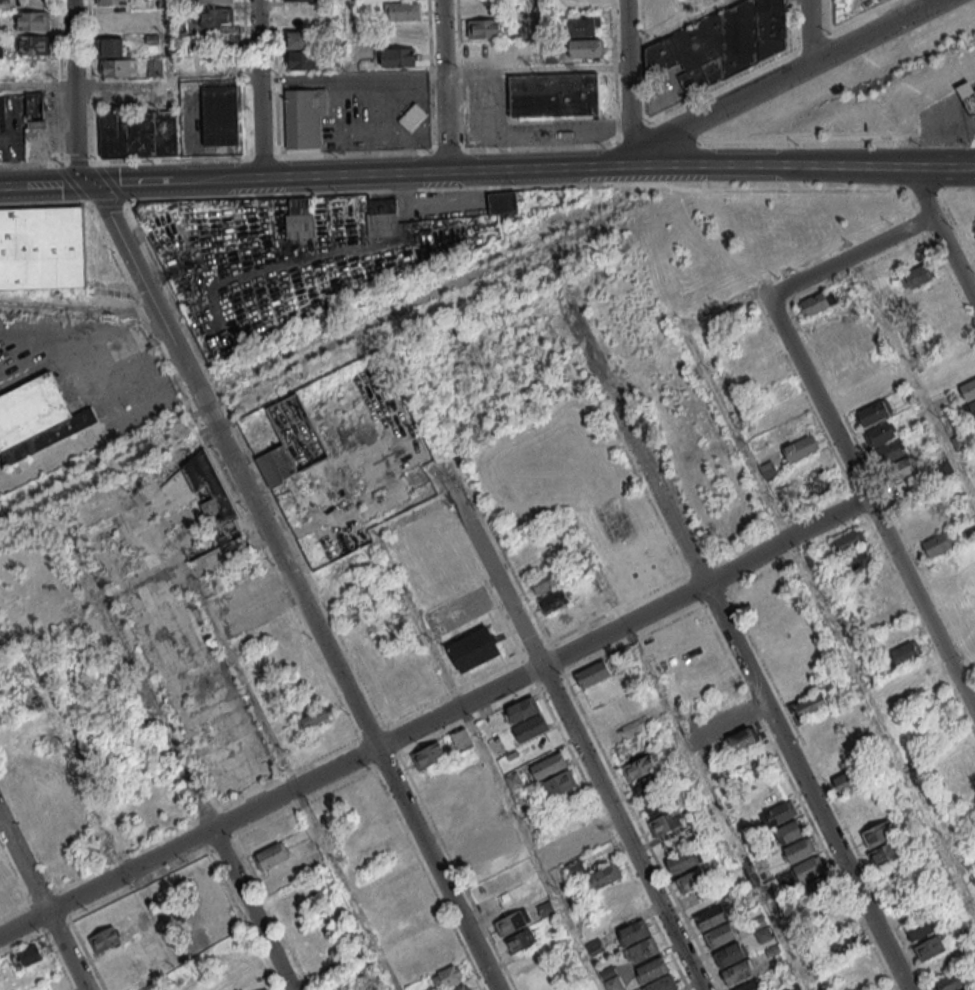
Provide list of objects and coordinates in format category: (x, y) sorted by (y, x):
building: (299, 0)
building: (214, 1)
building: (113, 2)
road: (696, 8)
building: (402, 10)
building: (217, 17)
building: (33, 20)
road: (678, 24)
building: (584, 26)
building: (484, 28)
road: (807, 32)
road: (351, 34)
road: (535, 34)
road: (260, 39)
road: (167, 40)
building: (722, 43)
building: (34, 44)
building: (113, 46)
building: (586, 47)
building: (301, 50)
building: (399, 56)
building: (118, 67)
building: (155, 67)
road: (535, 69)
road: (352, 75)
road: (784, 77)
road: (628, 80)
road: (92, 81)
road: (130, 81)
road: (443, 85)
road: (78, 93)
building: (554, 96)
building: (968, 97)
building: (1, 100)
building: (35, 110)
building: (220, 115)
building: (304, 117)
building: (412, 117)
road: (263, 126)
building: (138, 133)
road: (618, 136)
road: (803, 163)
road: (448, 169)
road: (179, 179)
traffic signals: (94, 183)
road: (47, 184)
road: (487, 186)
road: (926, 191)
building: (382, 204)
building: (299, 205)
building: (43, 249)
road: (955, 254)
road: (854, 255)
building: (917, 275)
building: (816, 303)
building: (969, 389)
road: (822, 399)
building: (970, 411)
building: (874, 412)
building: (37, 418)
building: (974, 425)
building: (881, 433)
building: (959, 441)
building: (801, 448)
building: (890, 451)
building: (276, 466)
building: (900, 468)
building: (945, 469)
building: (769, 470)
road: (656, 483)
building: (821, 485)
park: (570, 486)
building: (212, 504)
building: (929, 525)
building: (937, 544)
building: (854, 551)
road: (495, 566)
building: (544, 581)
road: (294, 586)
building: (252, 588)
building: (552, 600)
road: (923, 600)
building: (262, 606)
road: (542, 646)
building: (476, 648)
building: (905, 653)
building: (422, 665)
building: (593, 673)
road: (136, 683)
building: (812, 705)
building: (524, 708)
building: (315, 717)
road: (436, 717)
building: (1, 718)
building: (531, 728)
building: (461, 738)
building: (744, 739)
building: (429, 755)
building: (550, 766)
building: (640, 767)
building: (849, 780)
building: (561, 783)
building: (649, 785)
road: (810, 786)
building: (657, 806)
building: (781, 814)
building: (666, 823)
road: (625, 827)
building: (790, 832)
building: (881, 833)
building: (589, 838)
building: (800, 850)
building: (888, 853)
building: (271, 855)
building: (684, 861)
road: (23, 866)
building: (809, 869)
building: (606, 875)
building: (693, 880)
road: (347, 888)
building: (818, 888)
road: (251, 910)
building: (713, 917)
building: (512, 922)
building: (922, 928)
building: (636, 932)
building: (721, 935)
building: (104, 939)
building: (521, 940)
building: (847, 942)
building: (931, 948)
building: (645, 949)
road: (65, 951)
building: (25, 955)
building: (731, 955)
building: (654, 969)
building: (740, 972)
building: (447, 975)
building: (611, 979)
building: (951, 982)
building: (665, 984)
building: (752, 986)
building: (462, 987)
building: (267, 989)
building: (970, 989)

